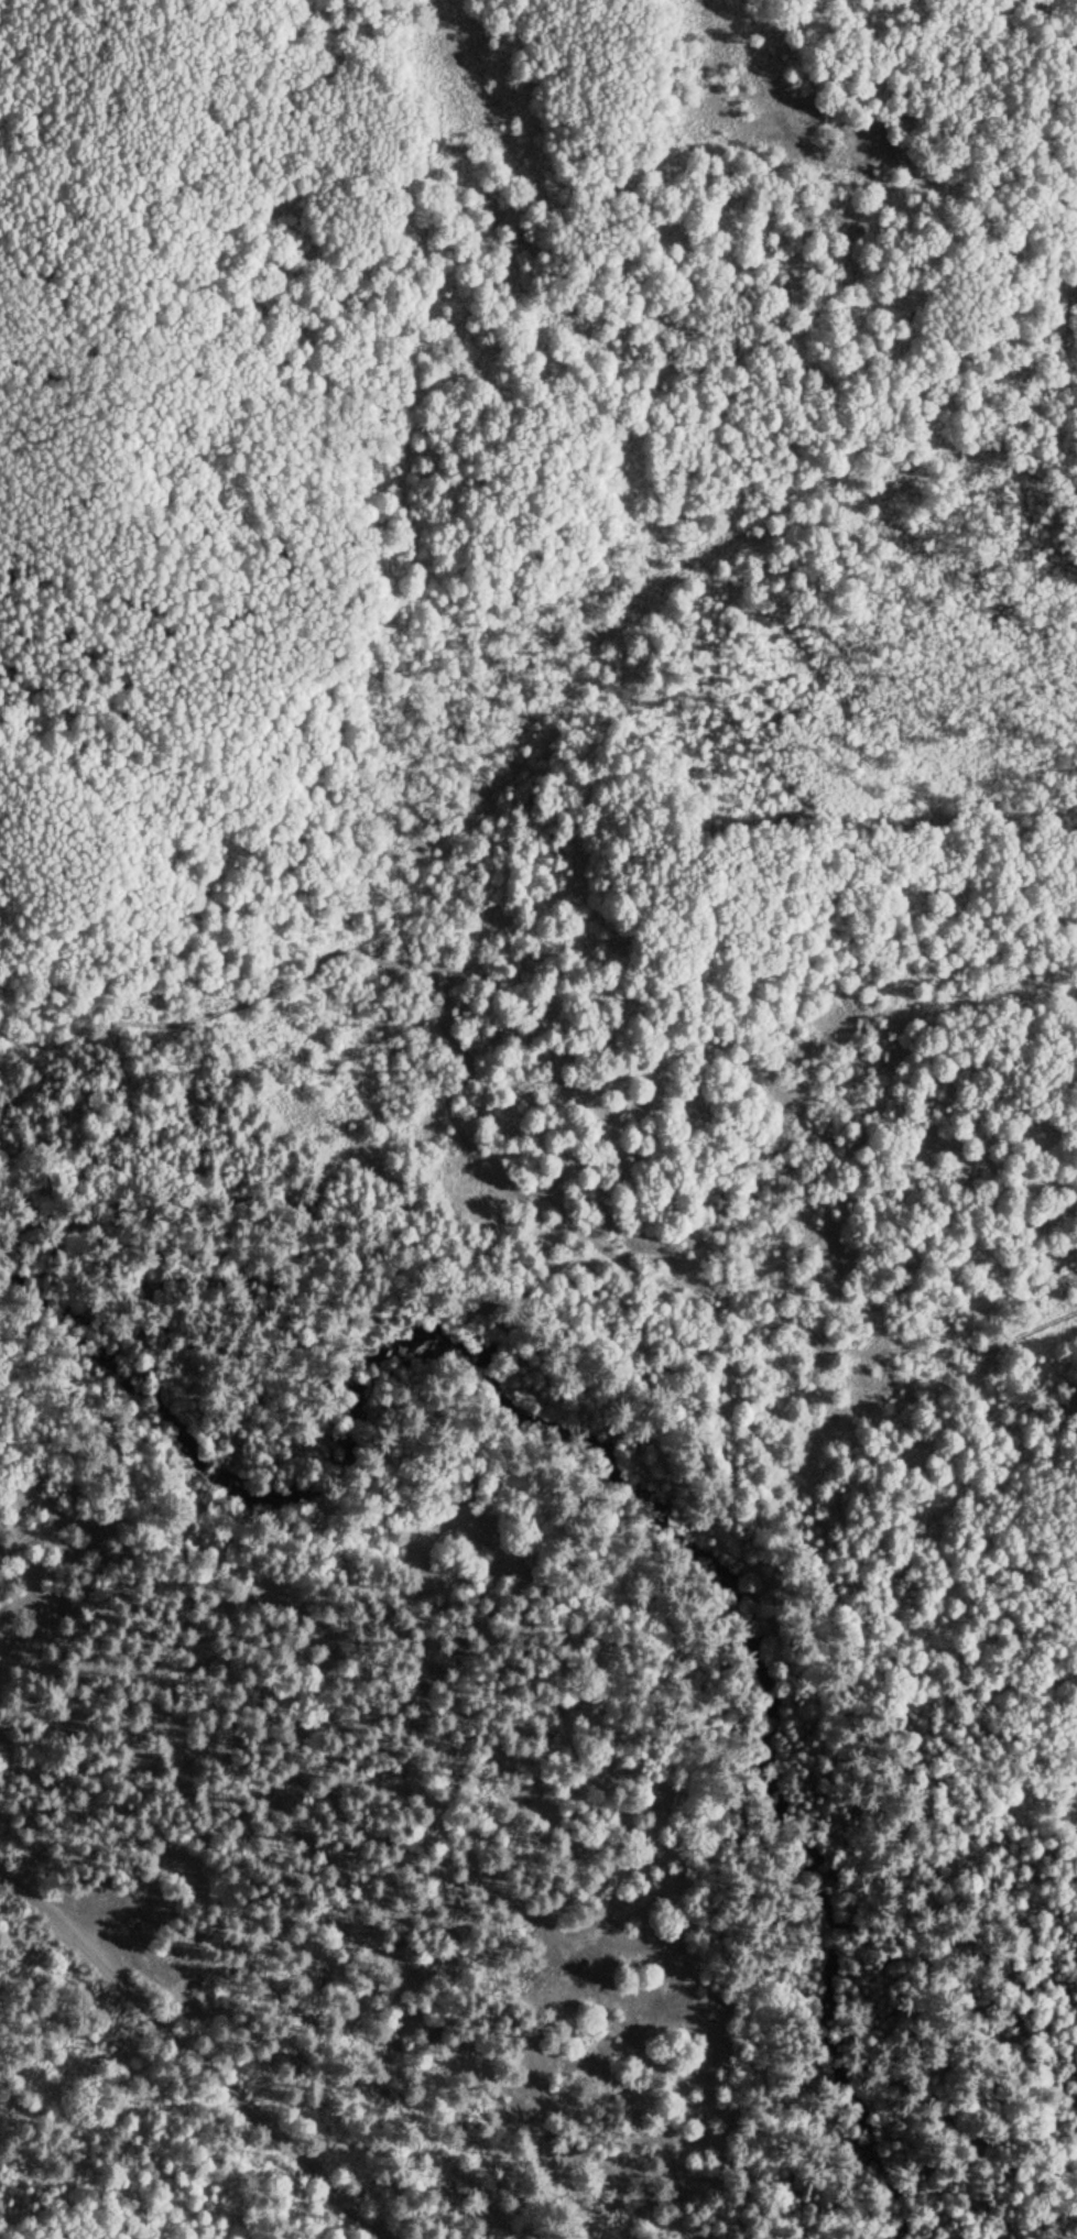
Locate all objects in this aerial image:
road: (479, 1151)
road: (90, 1532)
road: (20, 1539)
road: (423, 1548)
road: (45, 1625)
road: (31, 1649)
road: (668, 1879)
road: (195, 2049)
road: (1068, 2137)

